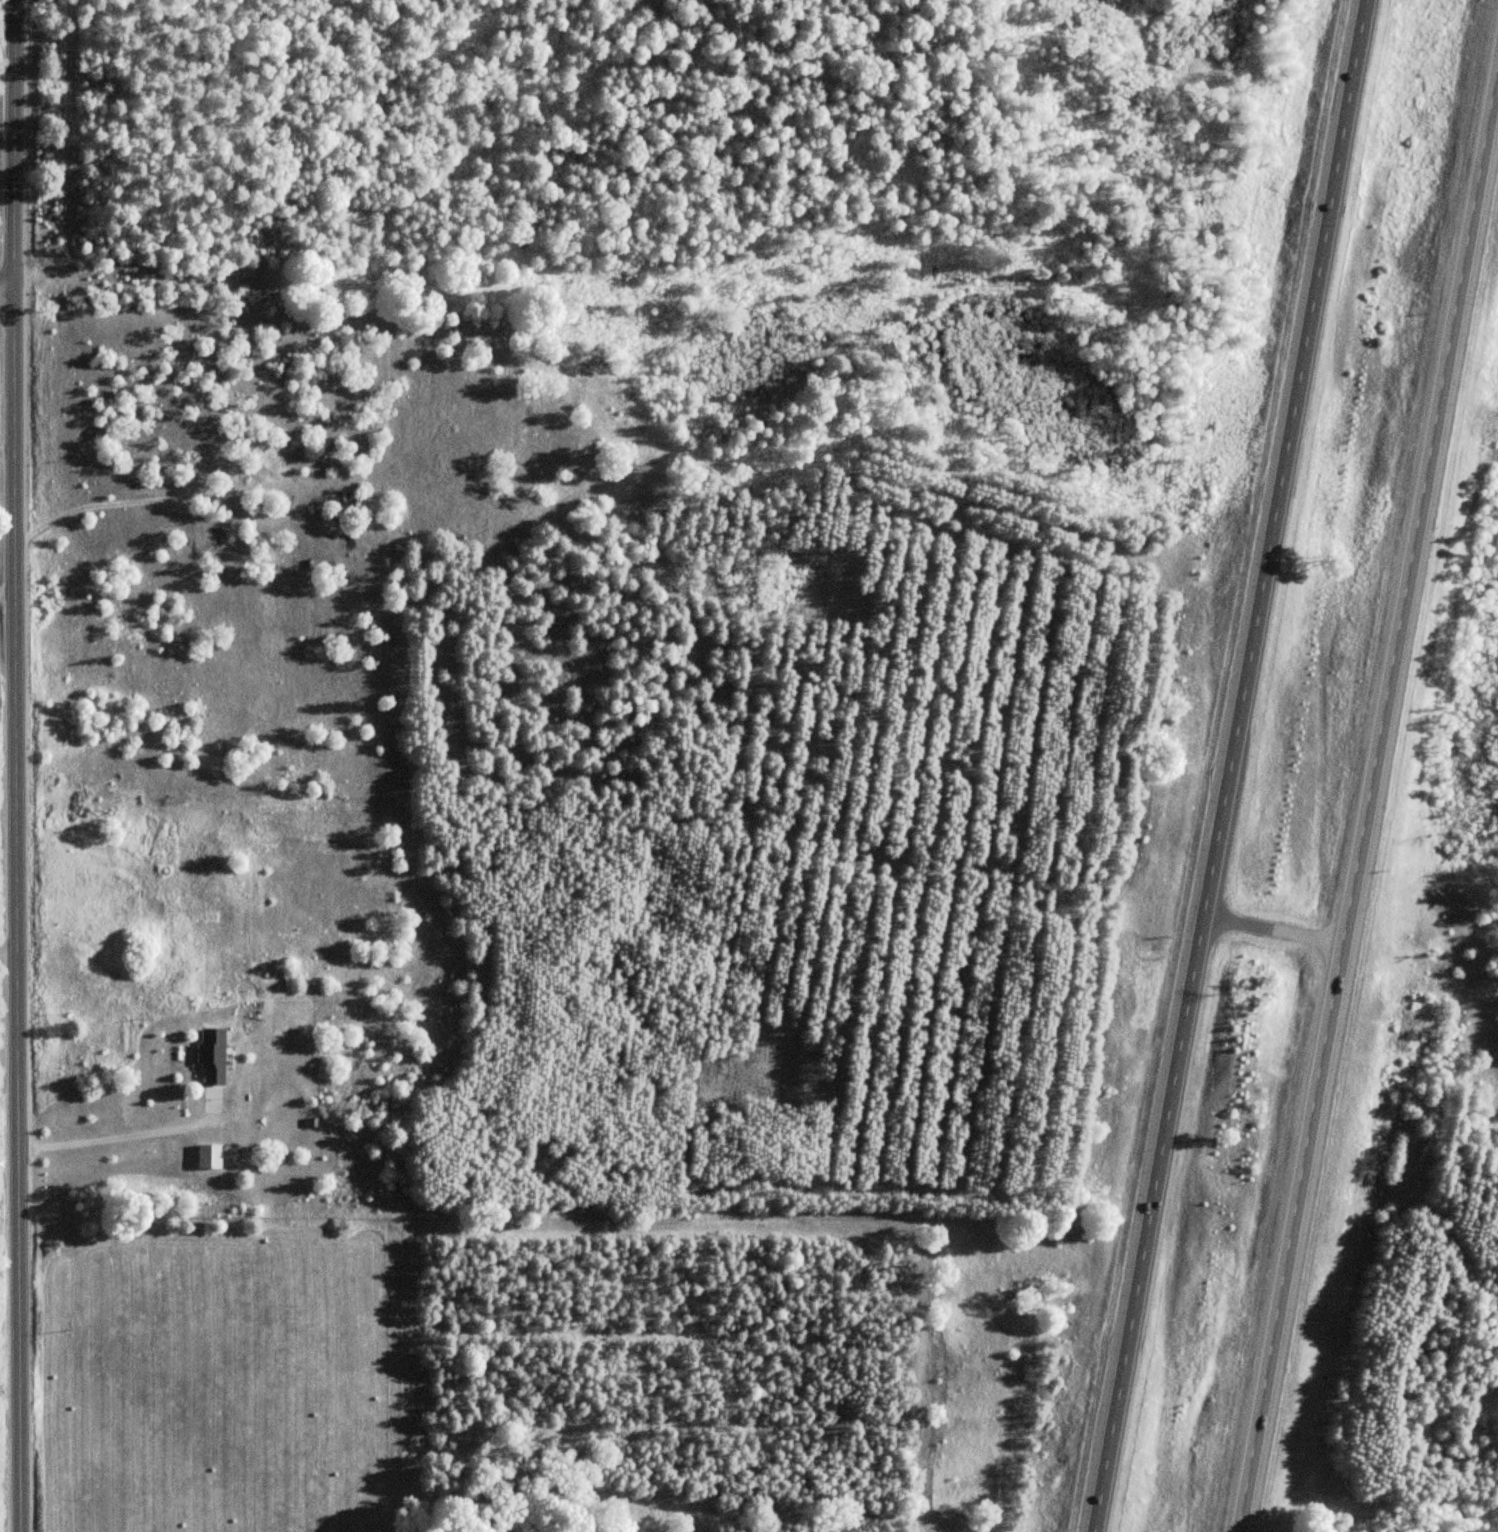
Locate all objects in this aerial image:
road: (13, 143)
road: (6, 286)
park: (2, 508)
road: (1229, 766)
road: (1368, 798)
road: (15, 909)
road: (1273, 928)
building: (211, 1056)

